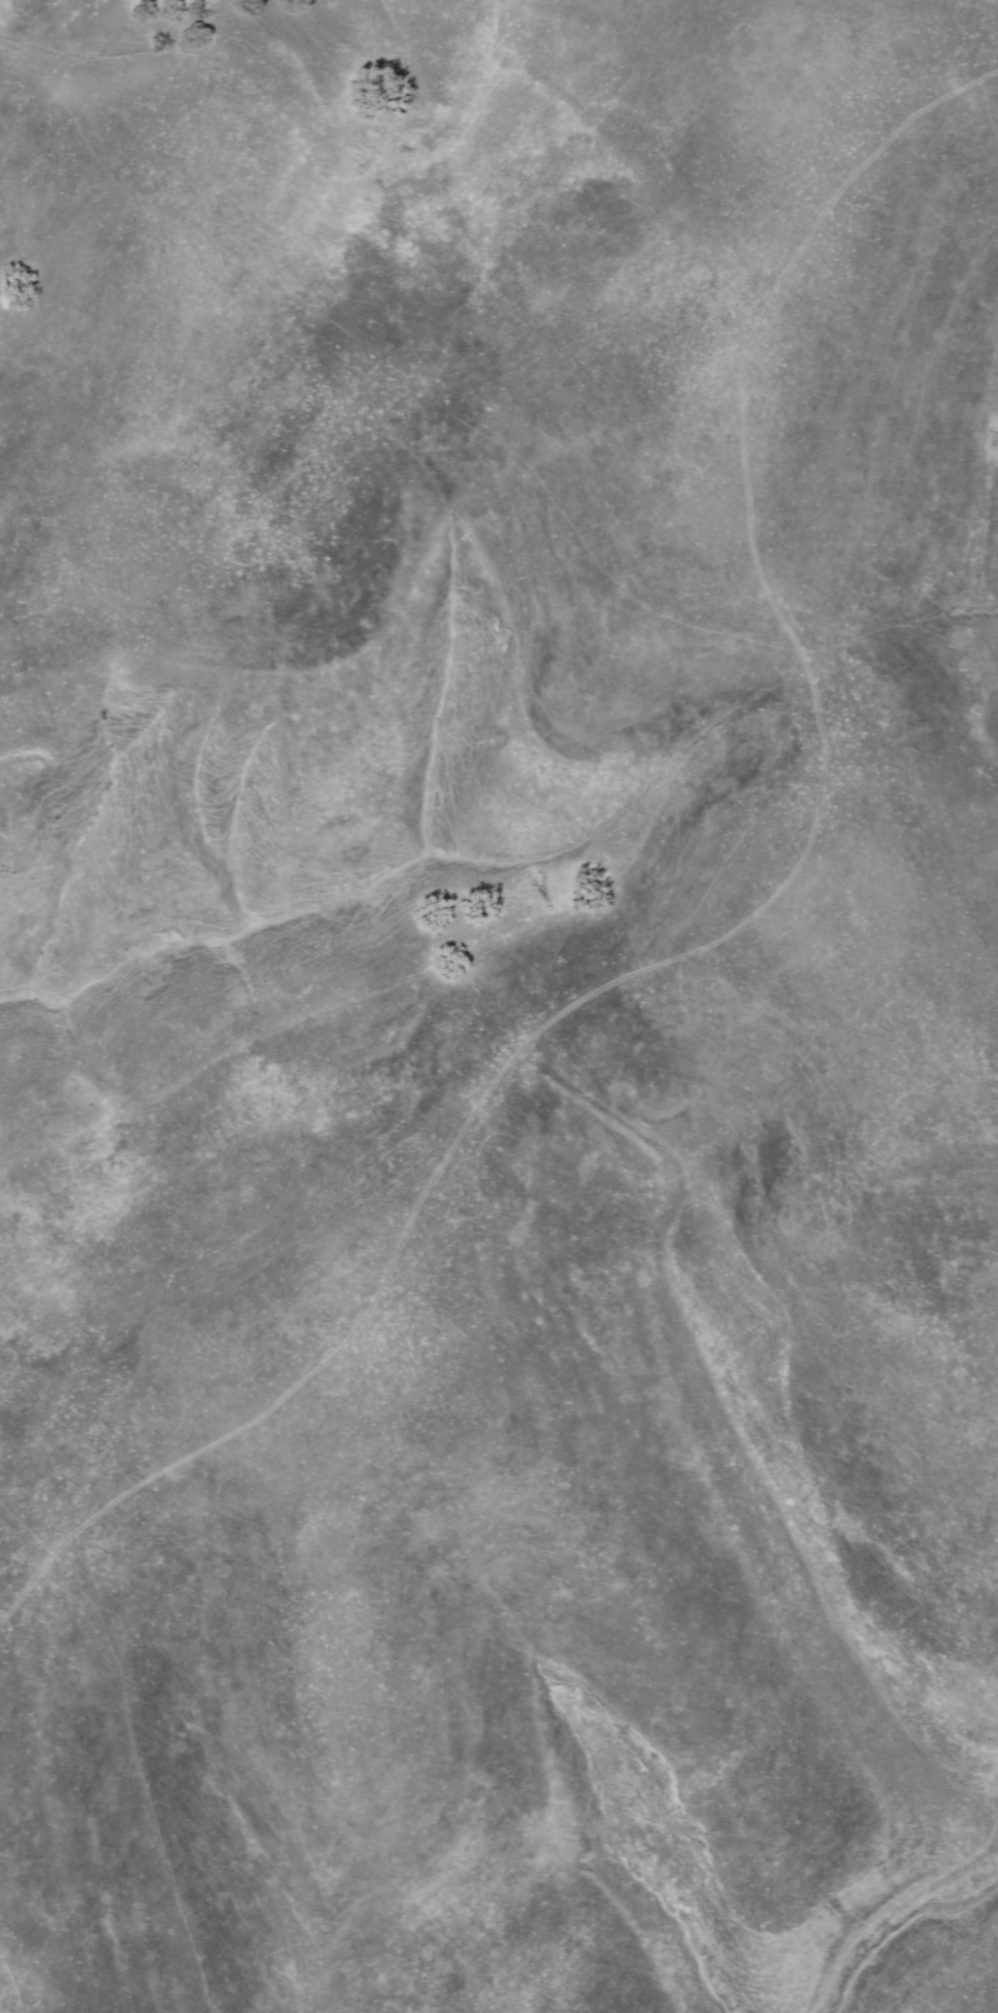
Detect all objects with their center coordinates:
road: (891, 1904)

